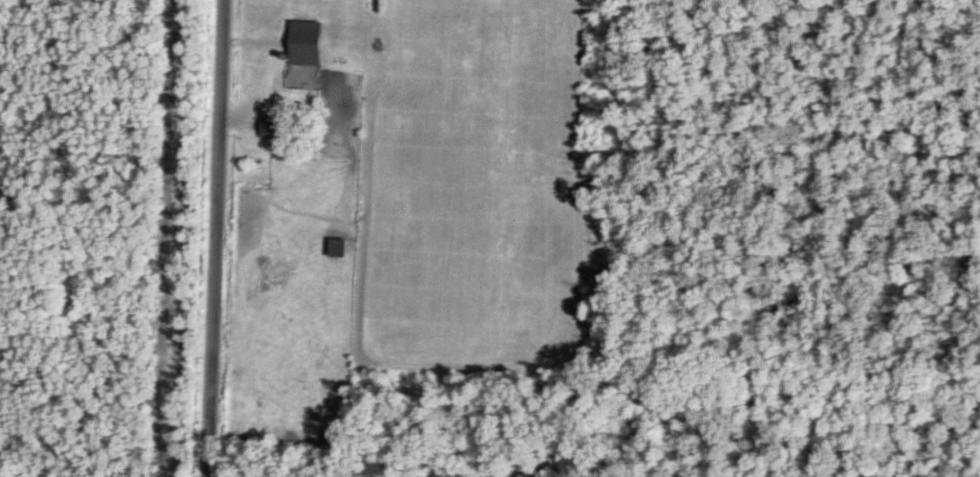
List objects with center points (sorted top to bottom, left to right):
building: (309, 62)
building: (280, 129)
road: (214, 238)
building: (340, 247)

